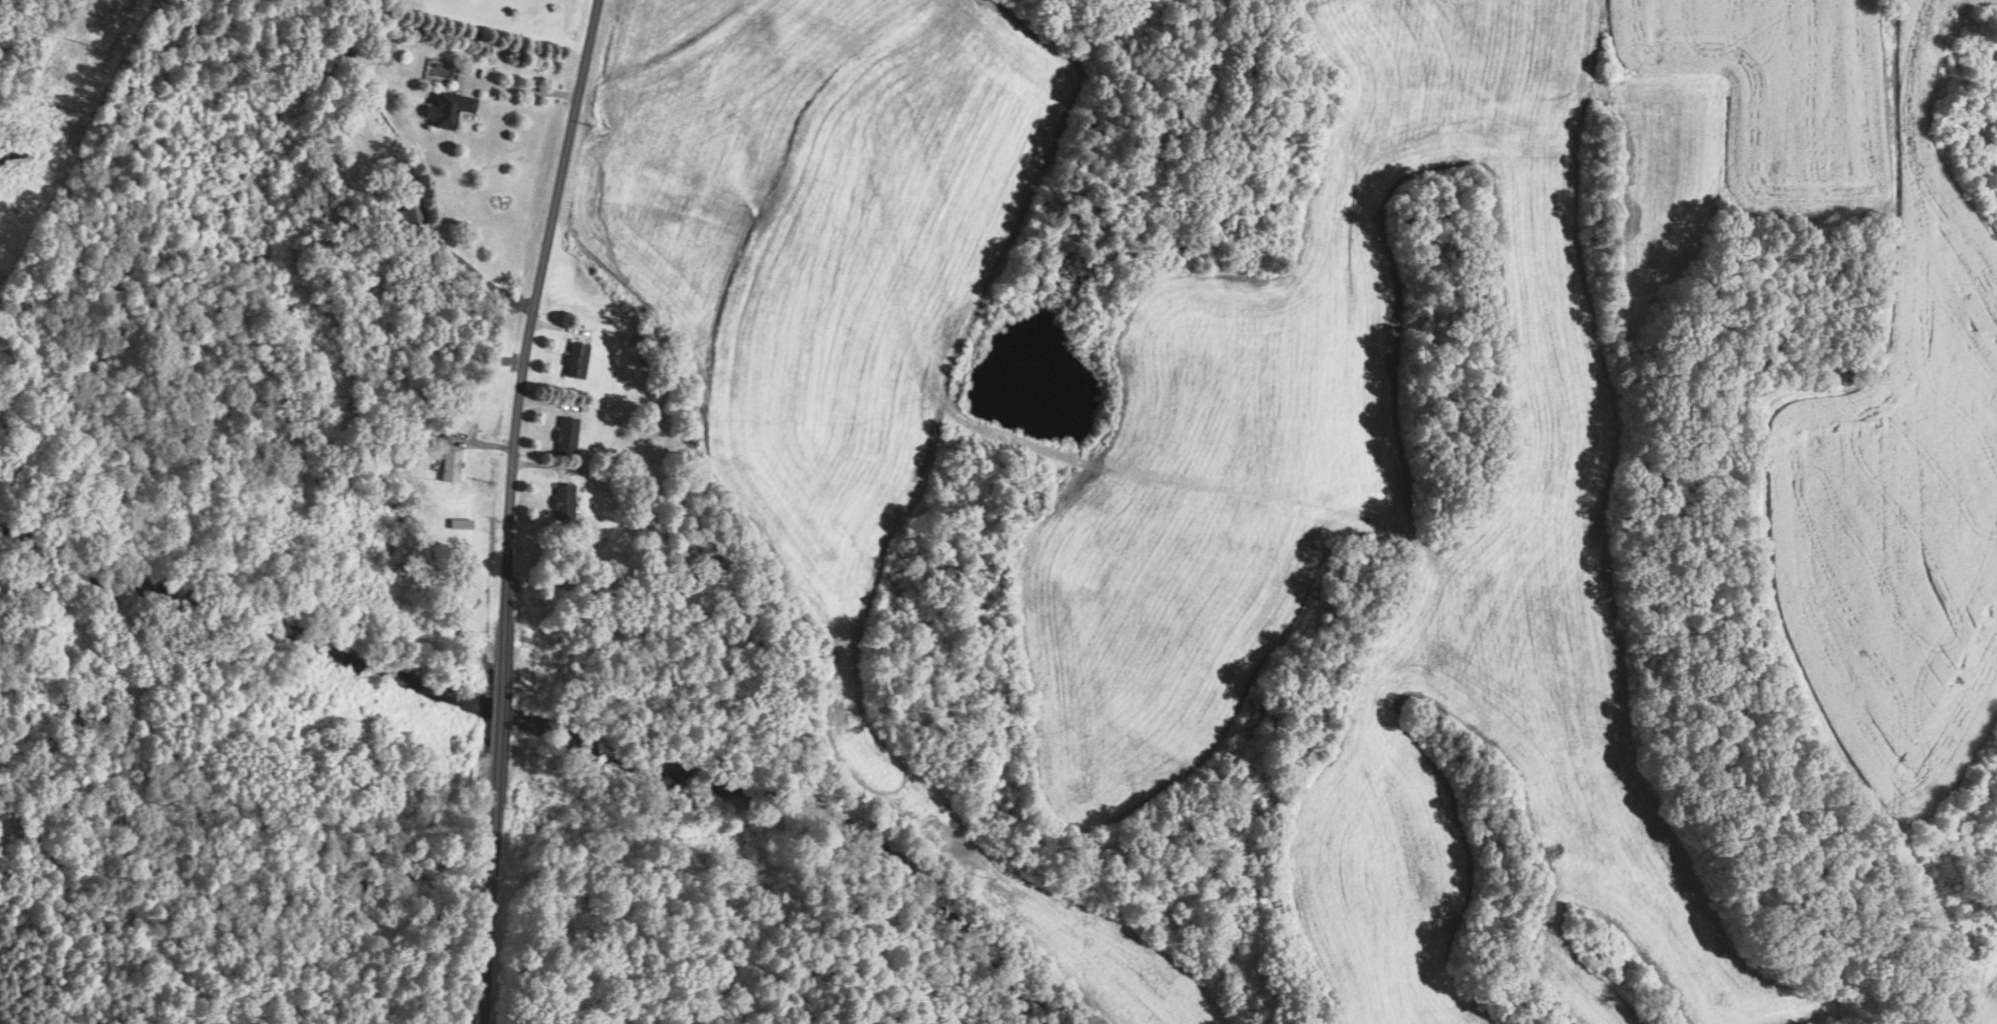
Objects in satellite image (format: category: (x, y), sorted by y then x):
road: (522, 86)
building: (450, 109)
building: (576, 360)
building: (567, 437)
building: (450, 466)
building: (563, 501)
road: (510, 508)

